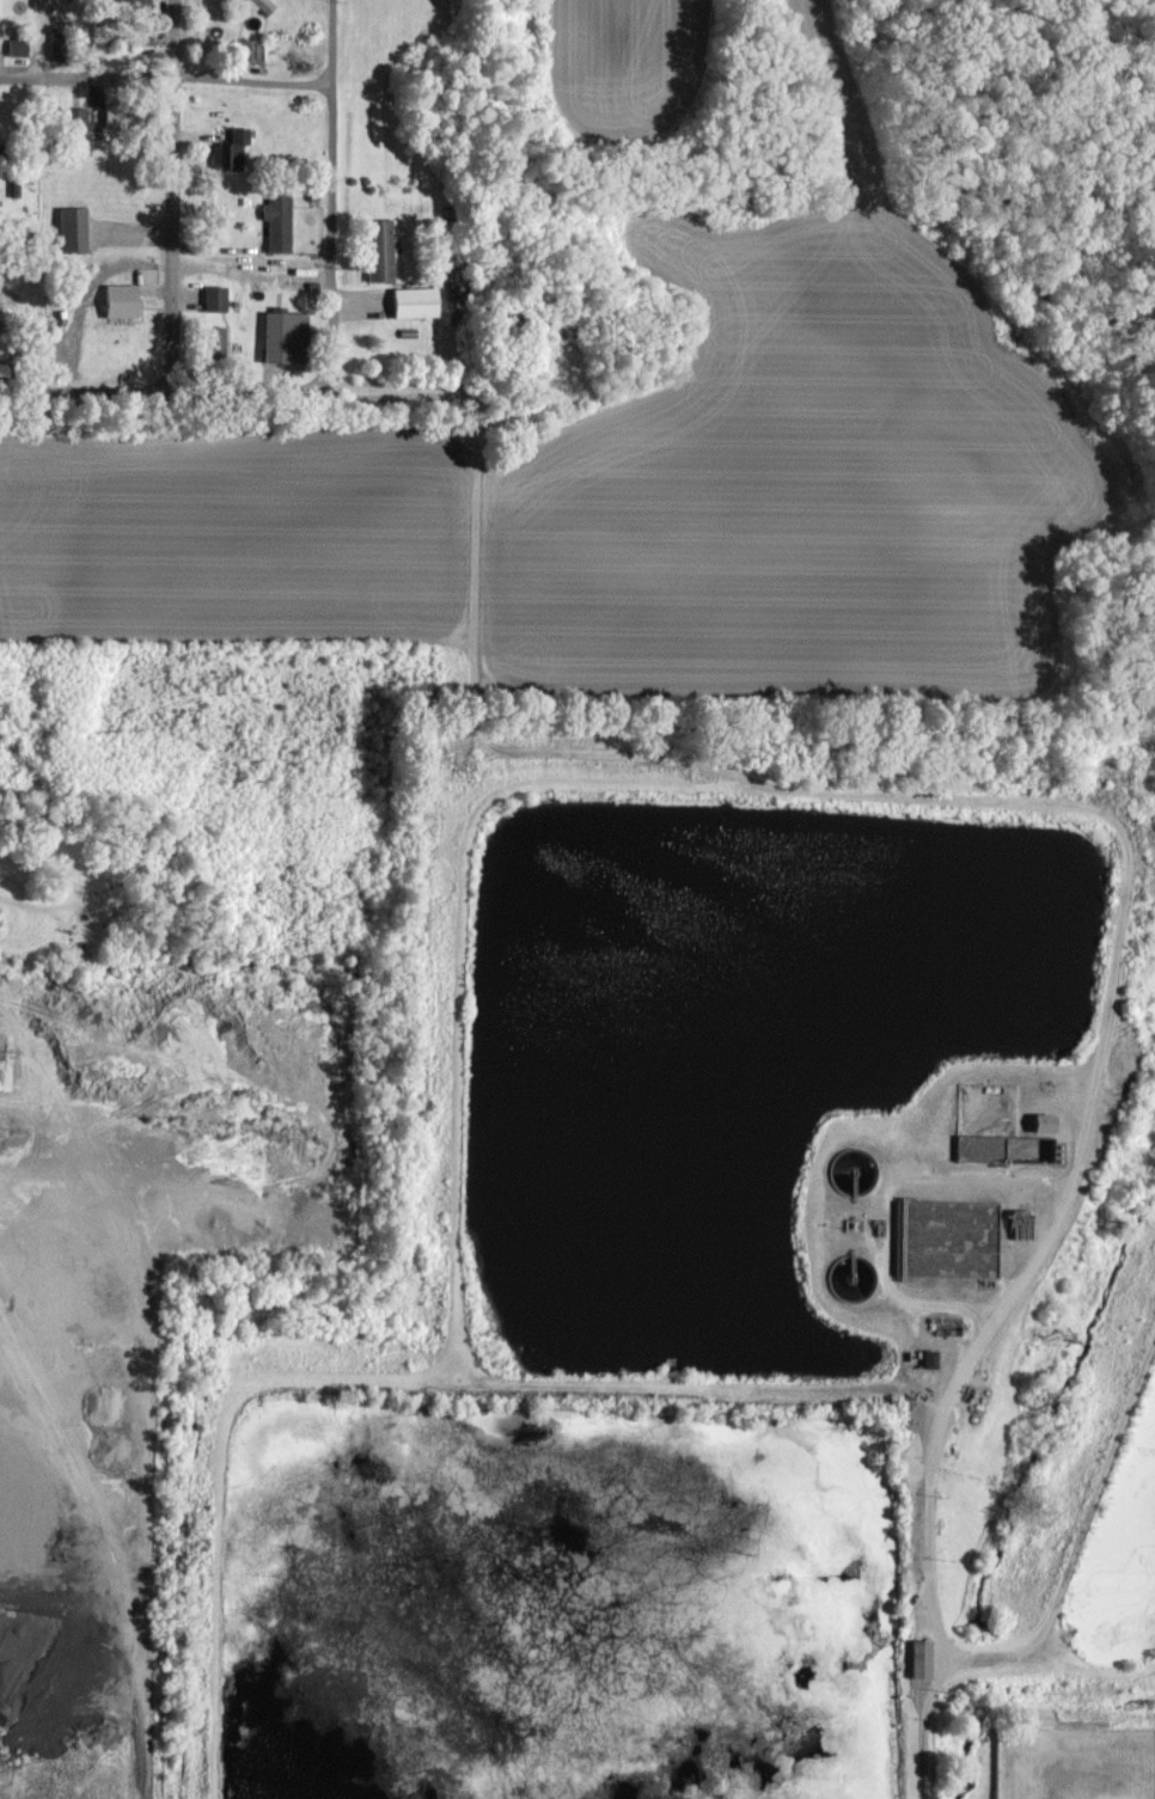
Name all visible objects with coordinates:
building: (127, 5)
building: (257, 5)
building: (14, 47)
building: (252, 50)
road: (165, 78)
building: (73, 118)
building: (227, 151)
road: (330, 189)
road: (41, 195)
road: (176, 197)
building: (275, 221)
building: (69, 228)
building: (377, 250)
building: (213, 298)
building: (116, 300)
building: (411, 301)
building: (280, 337)
building: (212, 339)
road: (164, 391)
road: (991, 801)
wastewater plant: (716, 1286)
quarry: (141, 1308)
road: (141, 1414)
road: (1056, 1595)
building: (917, 1658)

